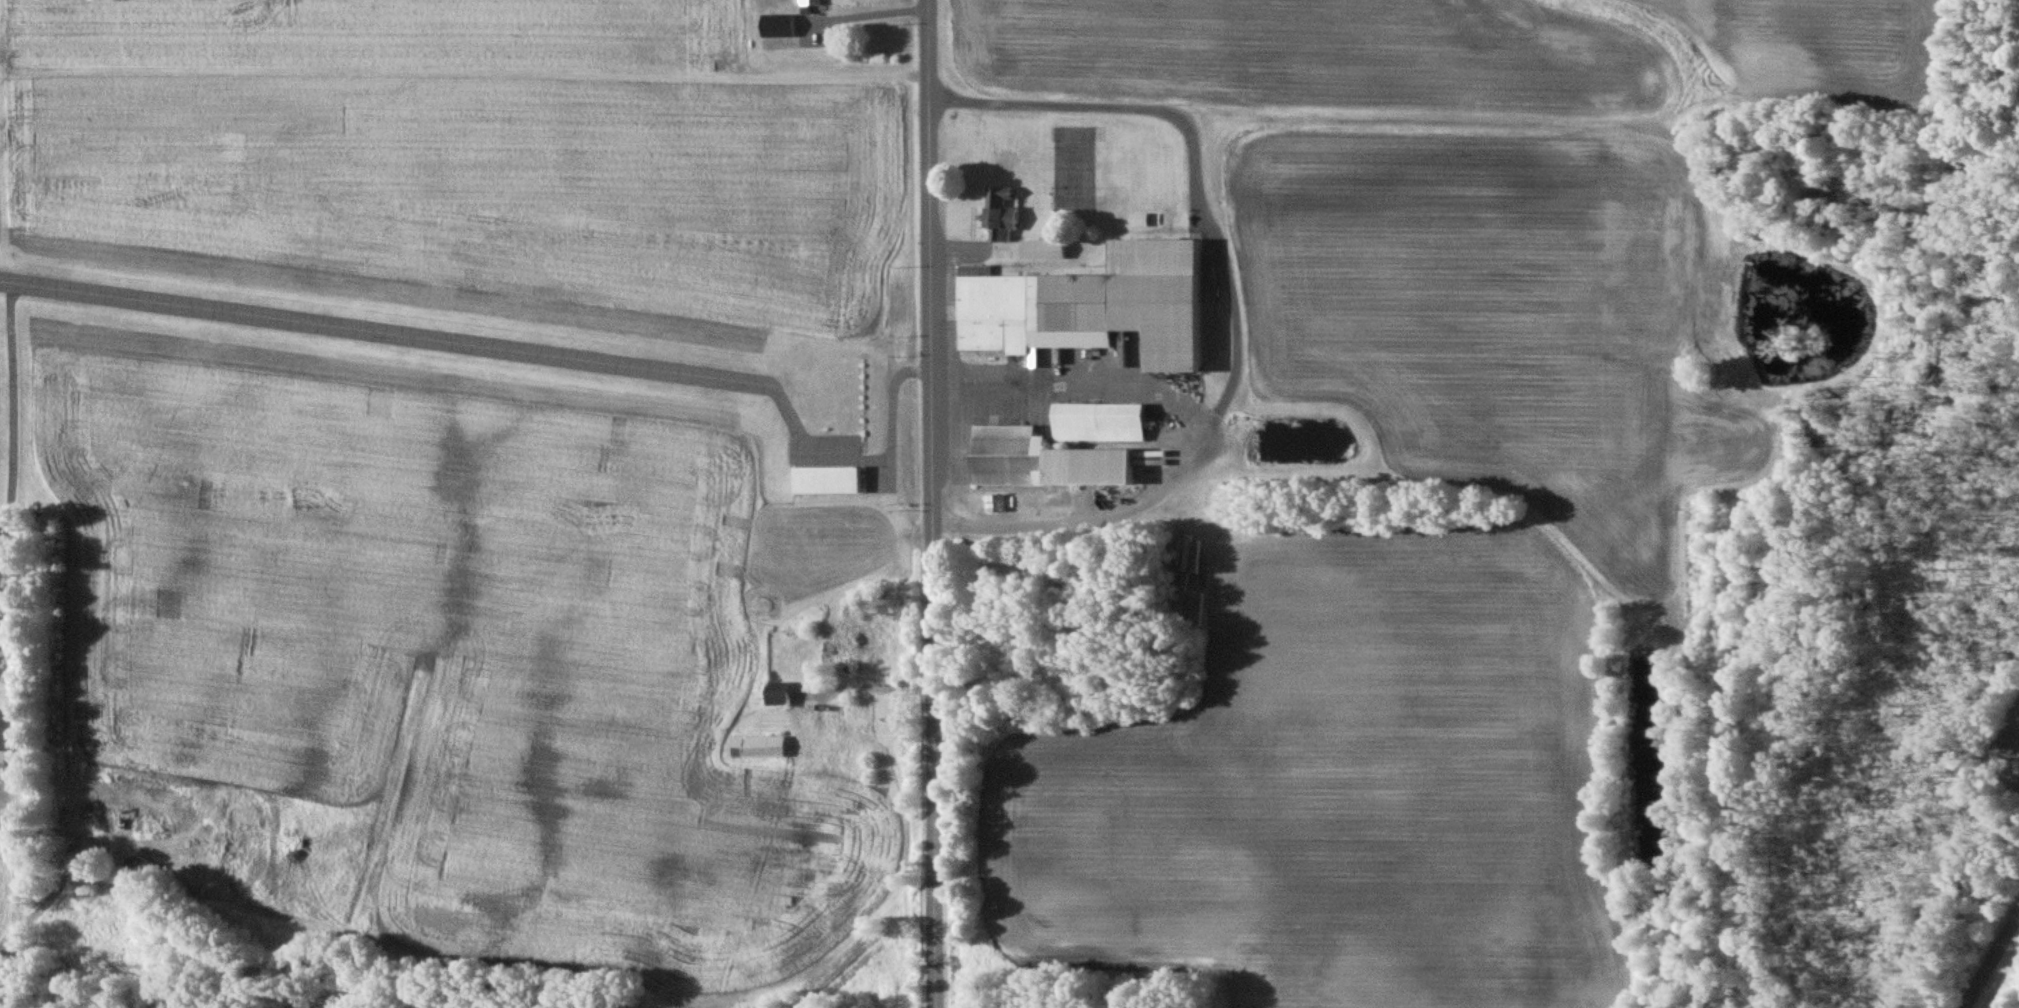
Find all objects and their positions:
building: (810, 5)
road: (866, 12)
building: (781, 25)
building: (1003, 212)
building: (1141, 218)
building: (1046, 248)
road: (1236, 297)
building: (1098, 304)
airport runway: (390, 337)
road: (1076, 386)
building: (1104, 421)
road: (882, 434)
building: (1050, 459)
building: (833, 479)
building: (999, 502)
road: (931, 503)
building: (782, 693)
building: (5, 729)
building: (760, 746)
road: (1991, 962)

